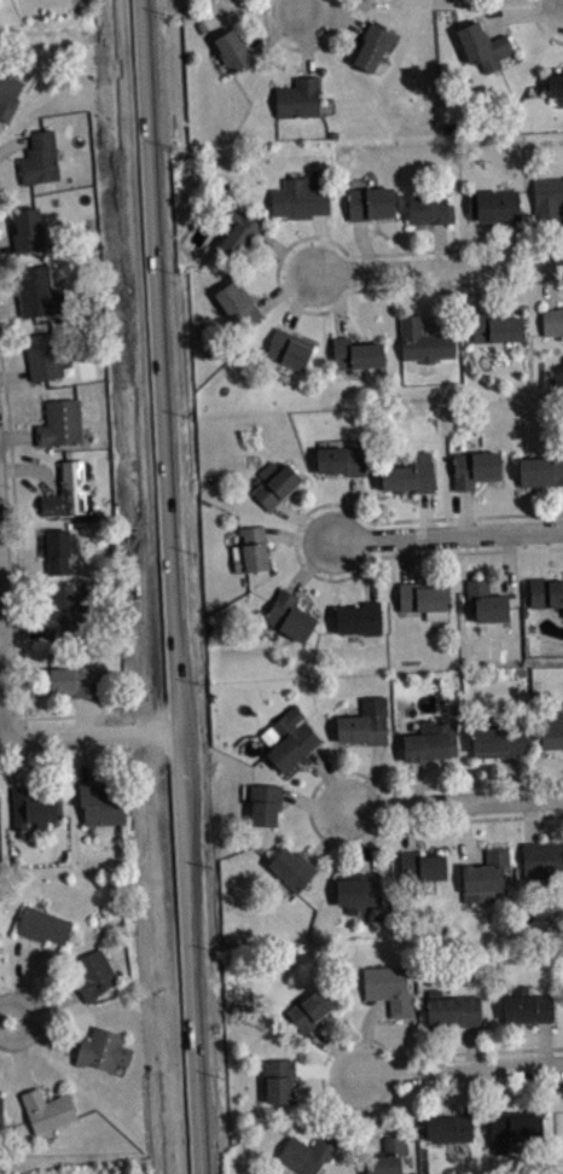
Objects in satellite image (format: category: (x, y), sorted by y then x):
building: (238, 1)
building: (377, 1)
road: (301, 8)
road: (539, 27)
building: (372, 45)
building: (482, 46)
road: (301, 48)
building: (232, 50)
building: (555, 82)
building: (7, 94)
building: (297, 98)
building: (39, 157)
building: (301, 197)
building: (547, 197)
building: (370, 203)
building: (493, 205)
building: (429, 209)
building: (27, 229)
building: (238, 232)
road: (277, 274)
road: (437, 274)
building: (36, 291)
building: (236, 307)
building: (552, 321)
building: (494, 327)
building: (422, 341)
building: (289, 348)
building: (47, 354)
building: (355, 354)
building: (58, 422)
building: (341, 460)
building: (474, 469)
building: (541, 470)
building: (410, 476)
building: (274, 483)
building: (68, 490)
road: (440, 518)
road: (449, 540)
building: (56, 551)
building: (250, 551)
road: (389, 556)
road: (167, 587)
building: (545, 592)
building: (425, 598)
building: (484, 601)
building: (65, 611)
building: (289, 616)
building: (359, 618)
road: (4, 662)
building: (77, 680)
road: (80, 714)
road: (8, 717)
building: (364, 722)
building: (552, 732)
road: (140, 733)
road: (88, 738)
building: (288, 738)
building: (428, 740)
building: (498, 742)
road: (74, 761)
building: (99, 803)
building: (263, 803)
road: (453, 804)
building: (31, 807)
road: (309, 809)
building: (1, 813)
building: (542, 859)
building: (422, 867)
building: (291, 868)
building: (486, 873)
building: (356, 890)
building: (42, 925)
building: (0, 943)
building: (92, 975)
building: (388, 987)
building: (527, 1006)
building: (452, 1009)
building: (309, 1010)
road: (4, 1021)
building: (101, 1050)
road: (459, 1069)
road: (323, 1076)
building: (278, 1080)
building: (47, 1110)
building: (0, 1117)
building: (513, 1126)
building: (448, 1128)
building: (308, 1151)
building: (387, 1156)
parking lot: (120, 1173)

